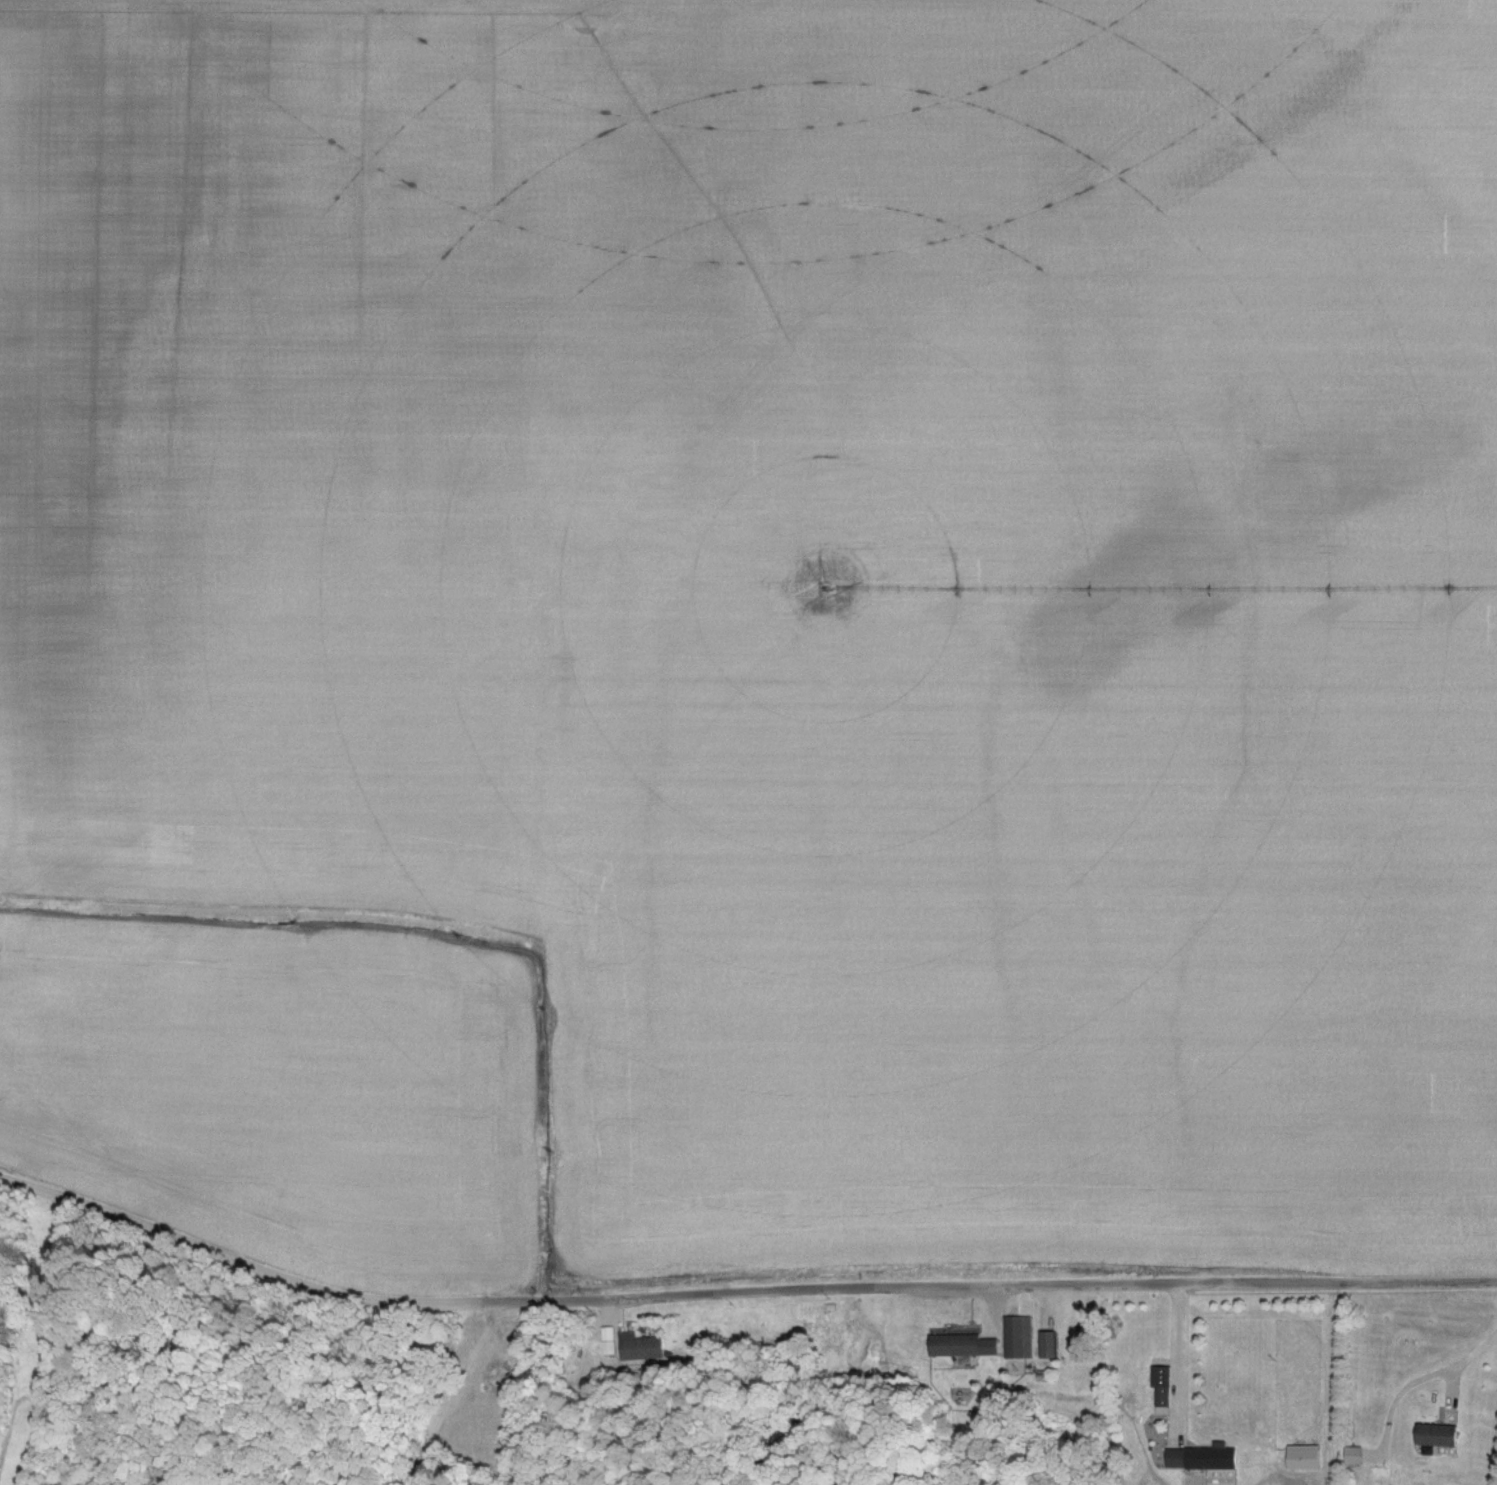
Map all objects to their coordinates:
road: (738, 1292)
building: (1020, 1337)
building: (956, 1345)
building: (642, 1348)
road: (1180, 1357)
road: (1459, 1365)
building: (1164, 1394)
building: (1438, 1436)
building: (1355, 1457)
building: (1203, 1459)

